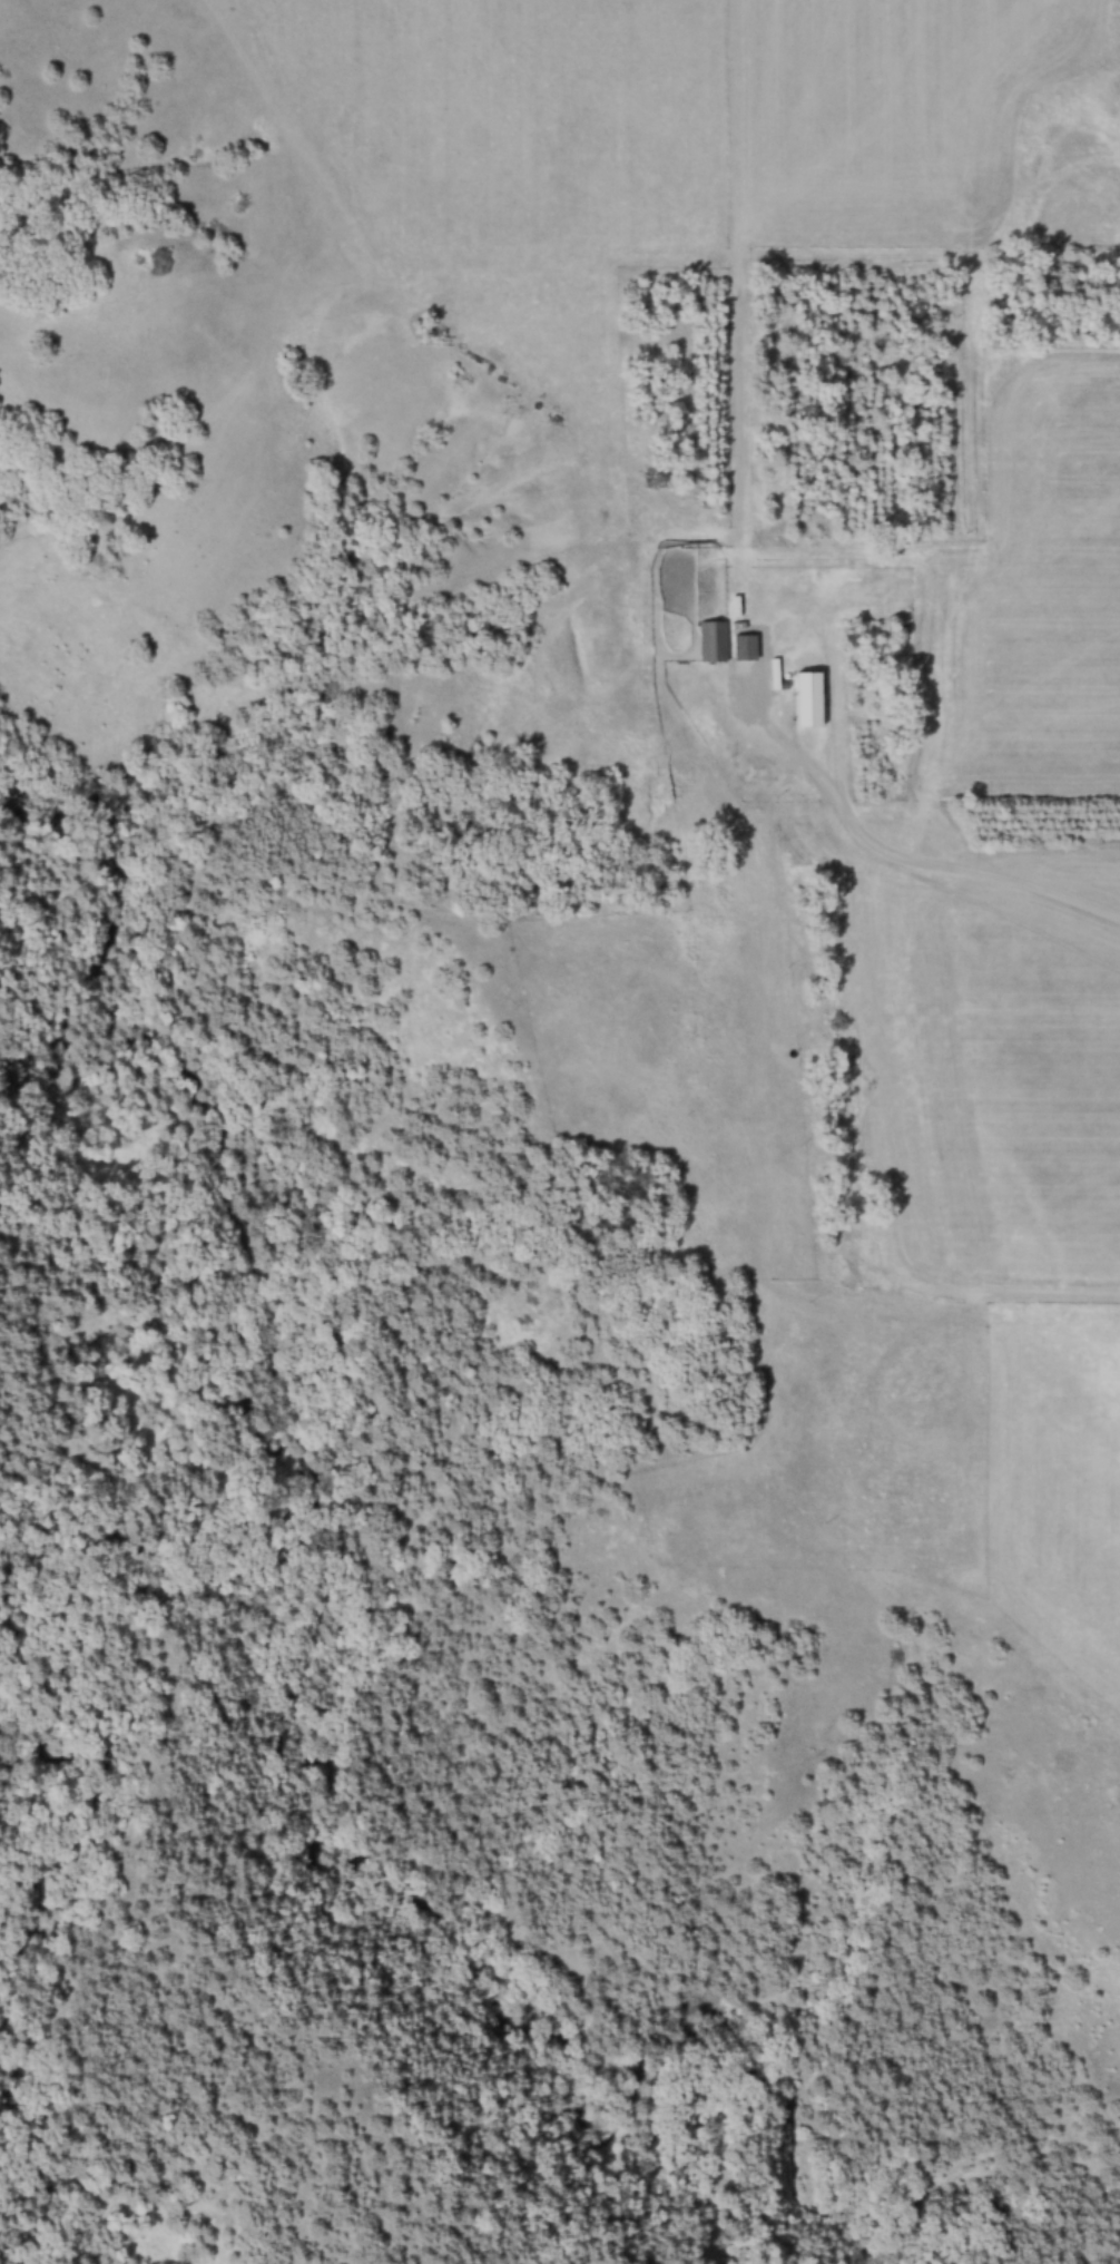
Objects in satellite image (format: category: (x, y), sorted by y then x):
building: (710, 643)
building: (740, 649)
road: (939, 879)

